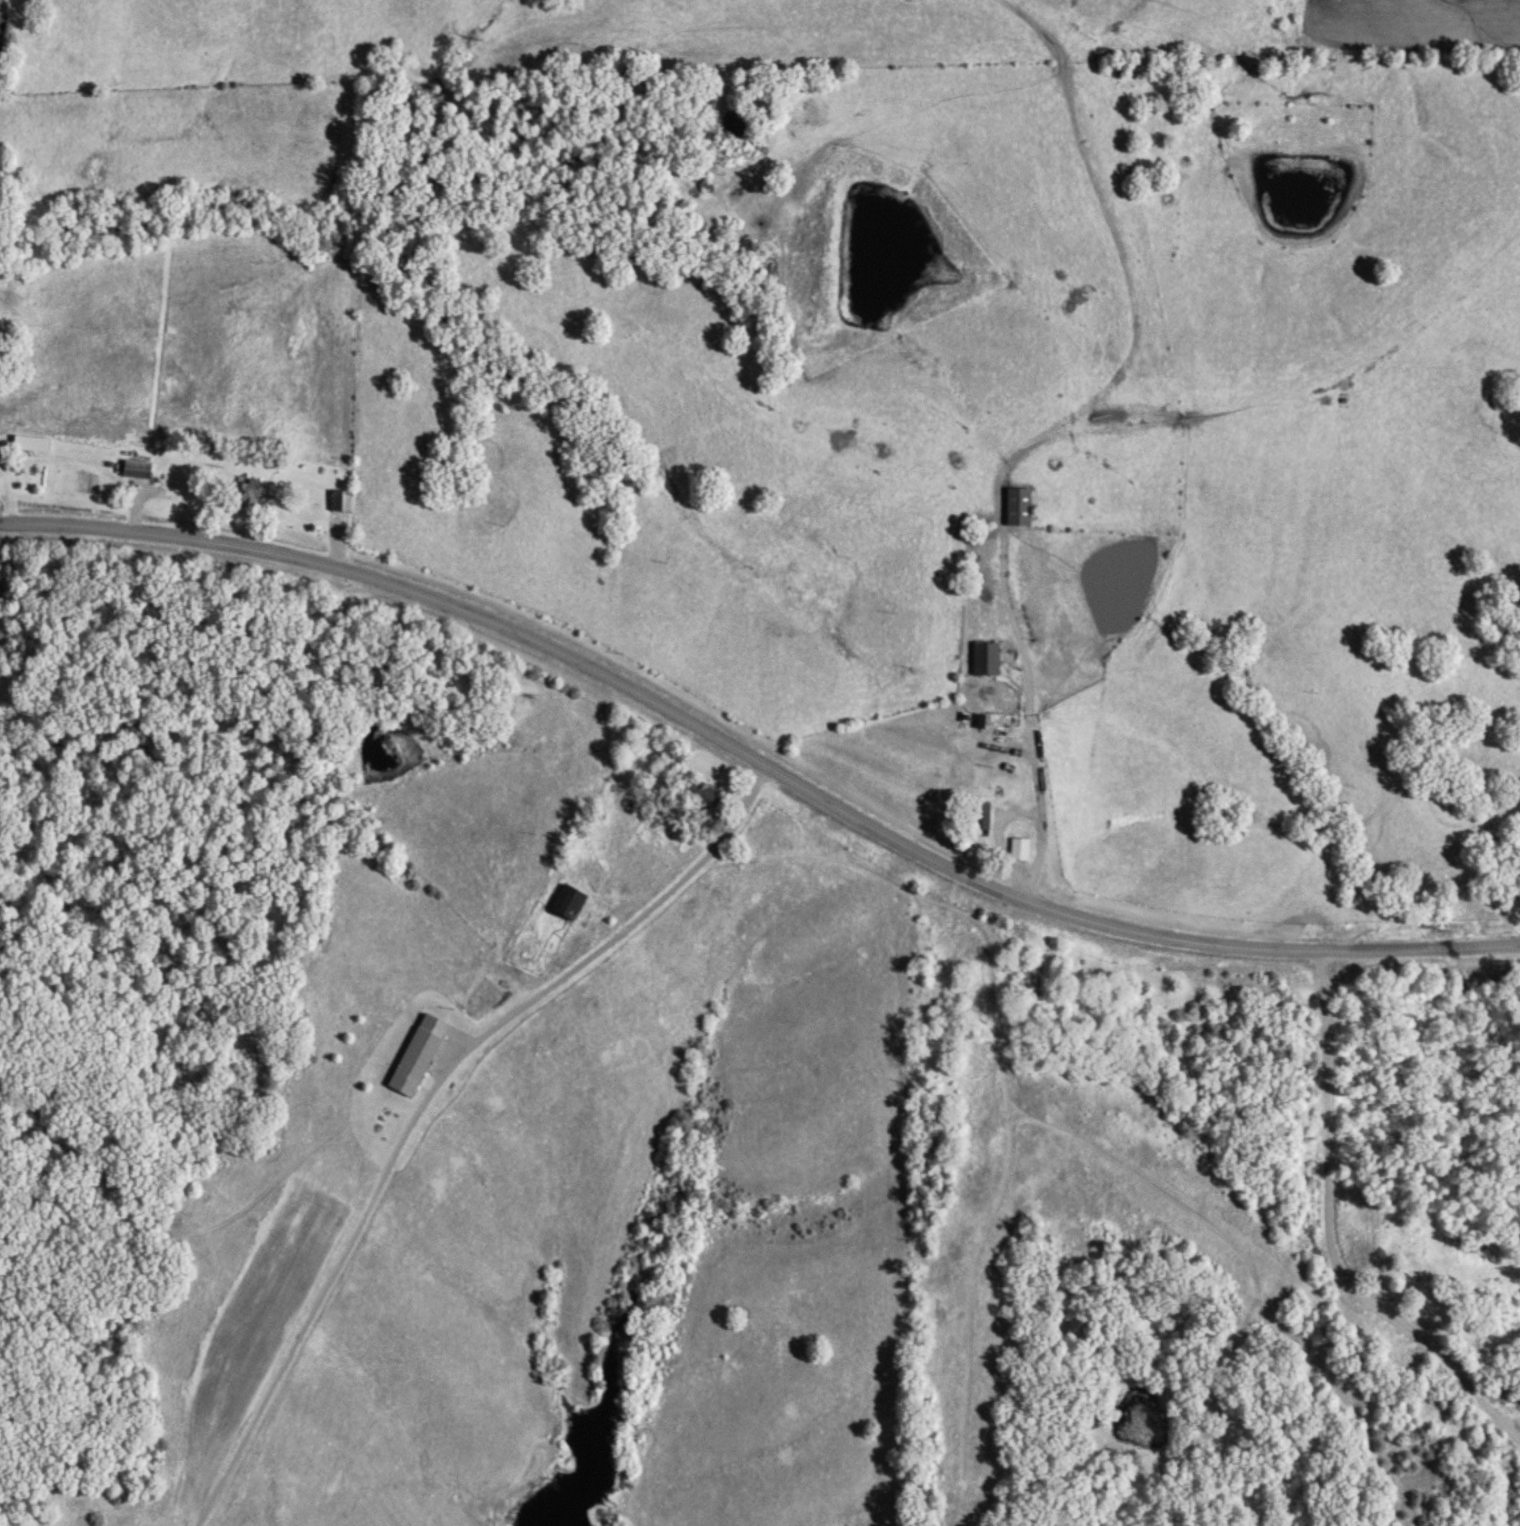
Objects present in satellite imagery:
building: (30, 443)
building: (136, 469)
building: (249, 492)
building: (340, 501)
building: (1017, 507)
building: (984, 658)
road: (1026, 709)
road: (757, 762)
building: (699, 796)
building: (980, 818)
building: (1019, 849)
road: (692, 870)
building: (568, 900)
building: (414, 1061)
road: (1328, 1241)

